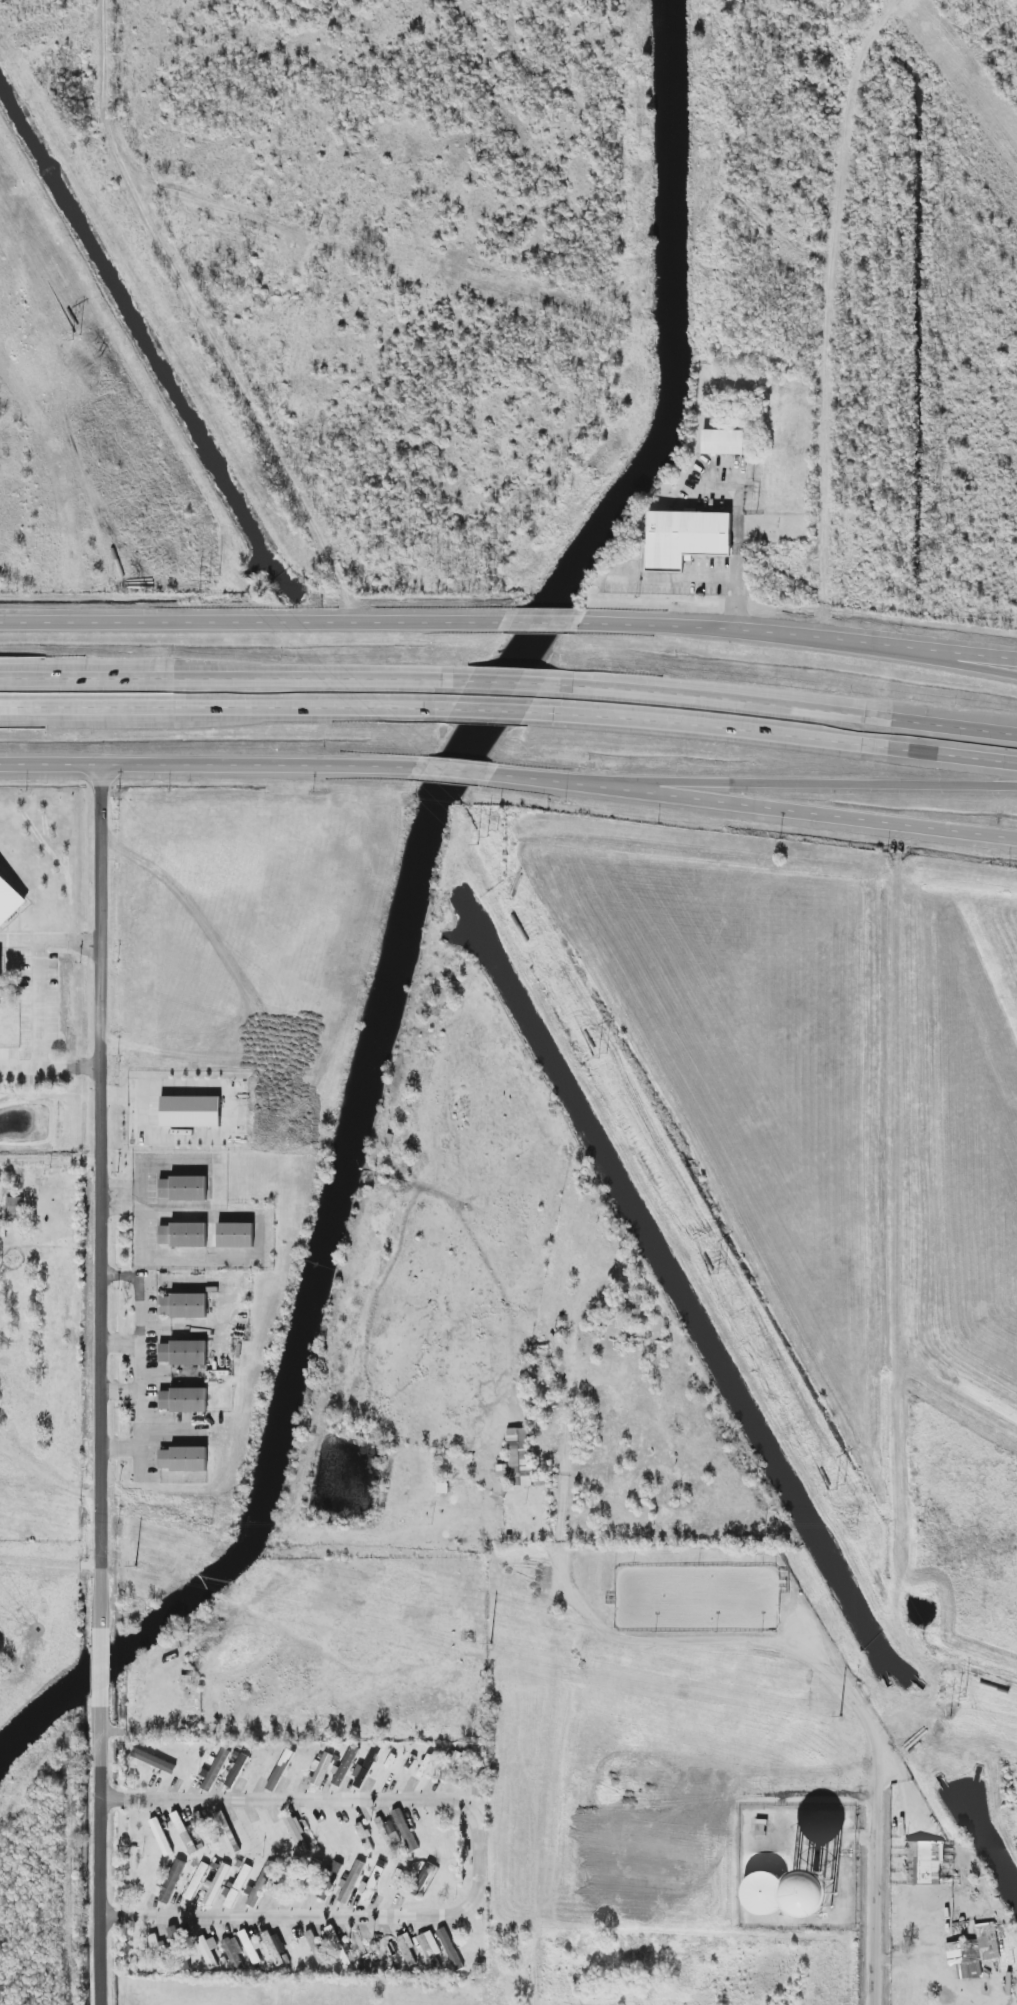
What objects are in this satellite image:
power tower: (75, 340)
building: (723, 441)
road: (737, 515)
building: (686, 538)
road: (721, 577)
road: (252, 621)
road: (538, 621)
road: (747, 629)
road: (970, 651)
road: (970, 655)
road: (223, 681)
road: (498, 683)
road: (222, 707)
road: (783, 708)
road: (489, 709)
road: (775, 738)
road: (208, 768)
road: (451, 773)
road: (758, 786)
road: (751, 811)
building: (9, 900)
road: (3, 941)
road: (22, 941)
road: (71, 942)
building: (1, 983)
road: (37, 1002)
power tower: (604, 1056)
road: (20, 1065)
road: (71, 1066)
building: (191, 1111)
road: (53, 1154)
road: (898, 1163)
building: (183, 1188)
road: (108, 1196)
building: (15, 1206)
road: (180, 1216)
building: (183, 1235)
building: (235, 1235)
power tower: (722, 1274)
building: (183, 1305)
road: (123, 1345)
building: (183, 1352)
road: (138, 1361)
road: (123, 1393)
building: (183, 1400)
building: (517, 1457)
building: (183, 1458)
road: (54, 1467)
power tower: (840, 1488)
road: (54, 1562)
road: (710, 1640)
road: (109, 1660)
building: (154, 1760)
building: (219, 1764)
building: (346, 1766)
building: (365, 1768)
building: (321, 1769)
building: (237, 1770)
building: (477, 1781)
building: (199, 1818)
building: (405, 1830)
building: (388, 1832)
building: (184, 1833)
building: (298, 1834)
building: (821, 1834)
building: (161, 1836)
building: (365, 1837)
road: (107, 1850)
road: (481, 1860)
building: (924, 1863)
road: (876, 1873)
building: (421, 1878)
building: (329, 1879)
building: (374, 1879)
building: (172, 1881)
building: (197, 1881)
building: (351, 1881)
building: (283, 1884)
building: (216, 1885)
building: (261, 1886)
building: (764, 1893)
building: (813, 1894)
building: (250, 1947)
building: (275, 1947)
building: (316, 1948)
building: (407, 1949)
building: (430, 1949)
building: (209, 1950)
building: (973, 1951)
building: (234, 1952)

